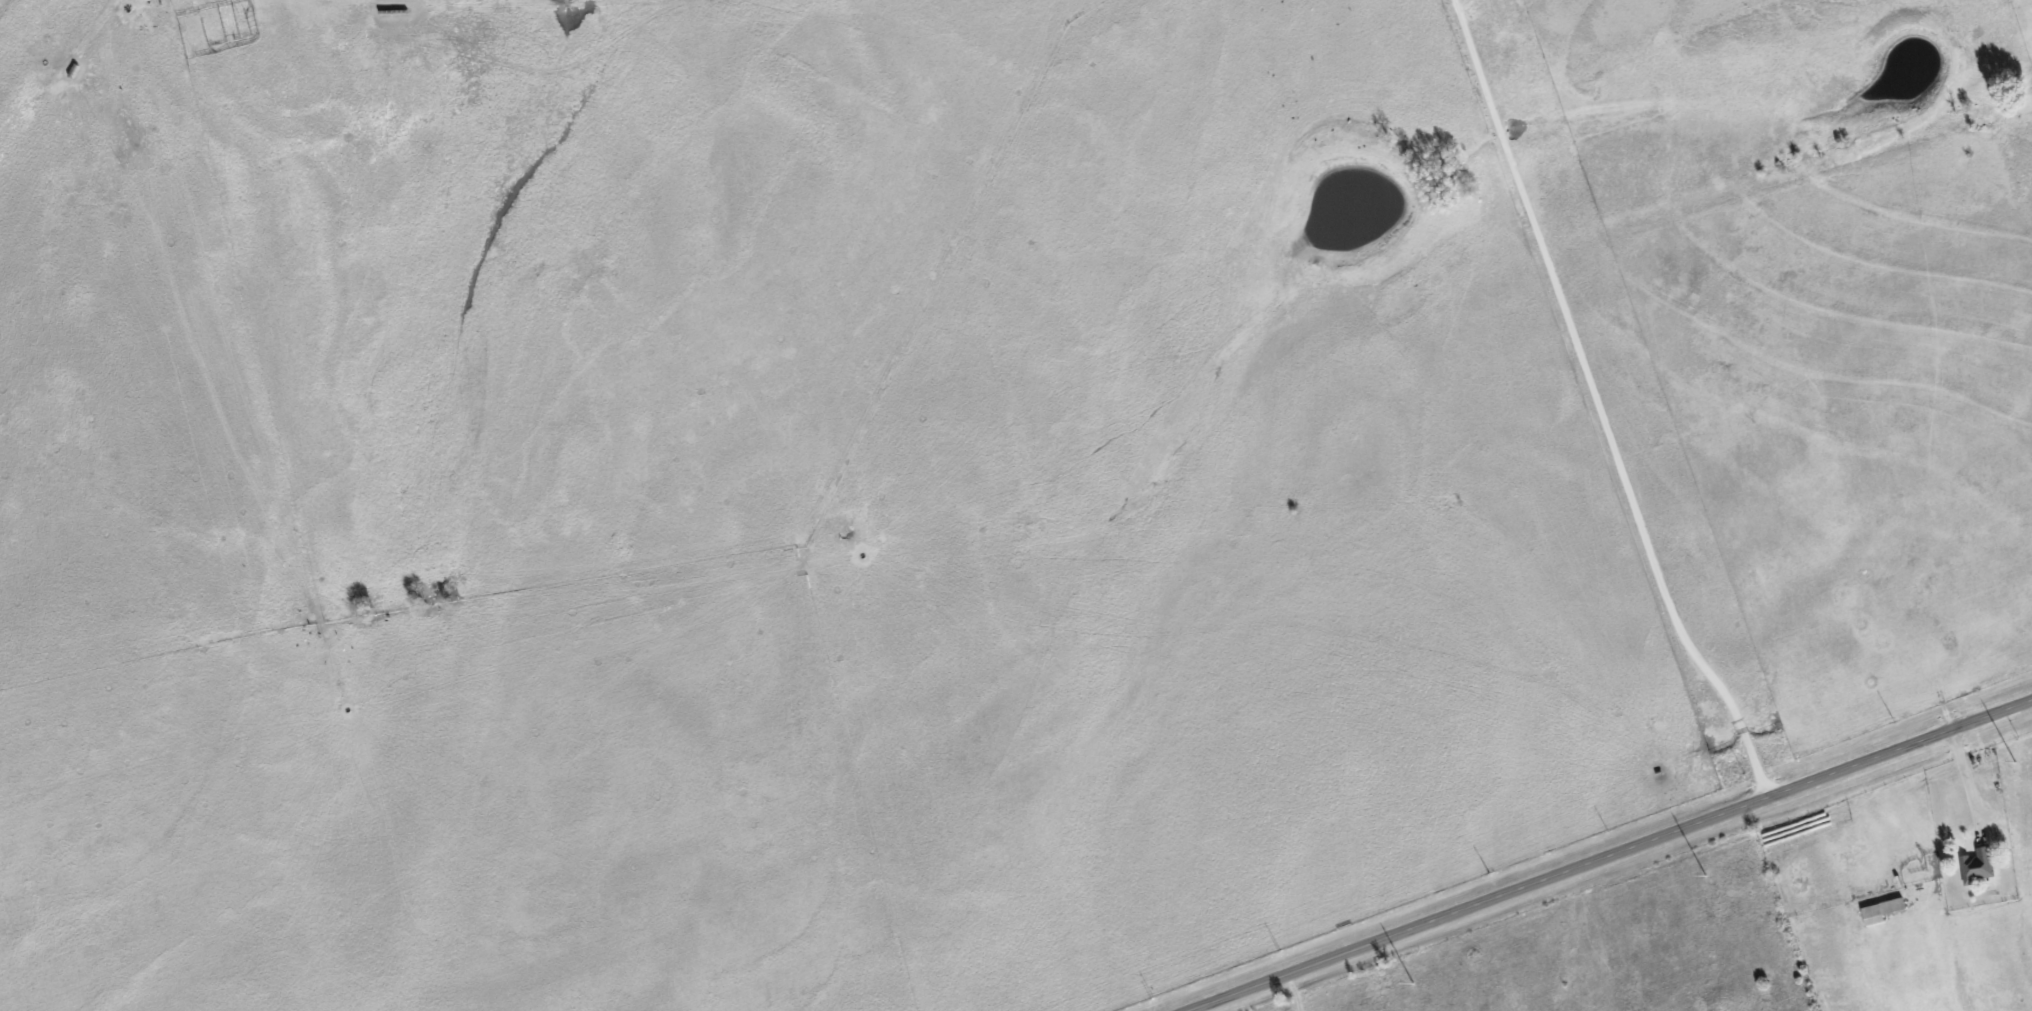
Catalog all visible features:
road: (1596, 405)
power tower: (2014, 762)
road: (1964, 785)
road: (1610, 856)
building: (1976, 865)
power tower: (1703, 877)
building: (1879, 910)
power tower: (1410, 984)

